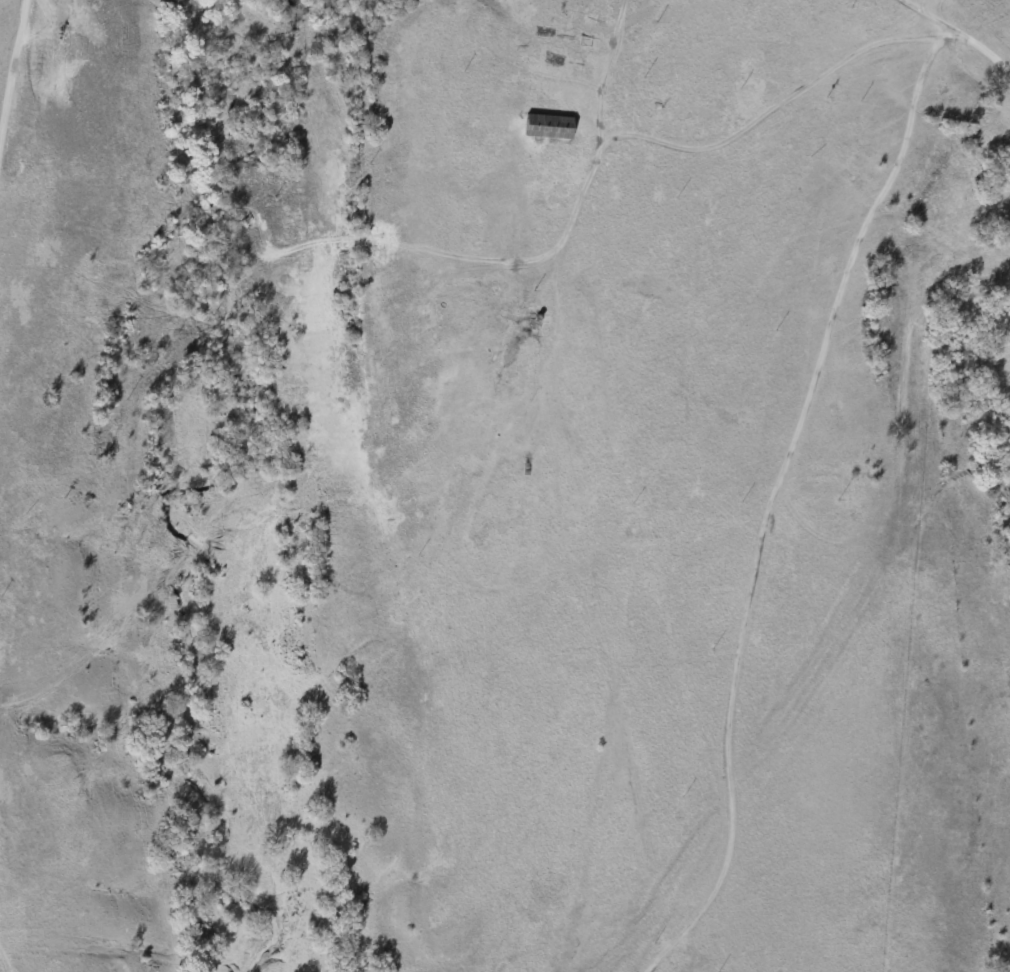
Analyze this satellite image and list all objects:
road: (957, 31)
road: (12, 79)
building: (543, 126)
road: (777, 507)
road: (2, 963)

